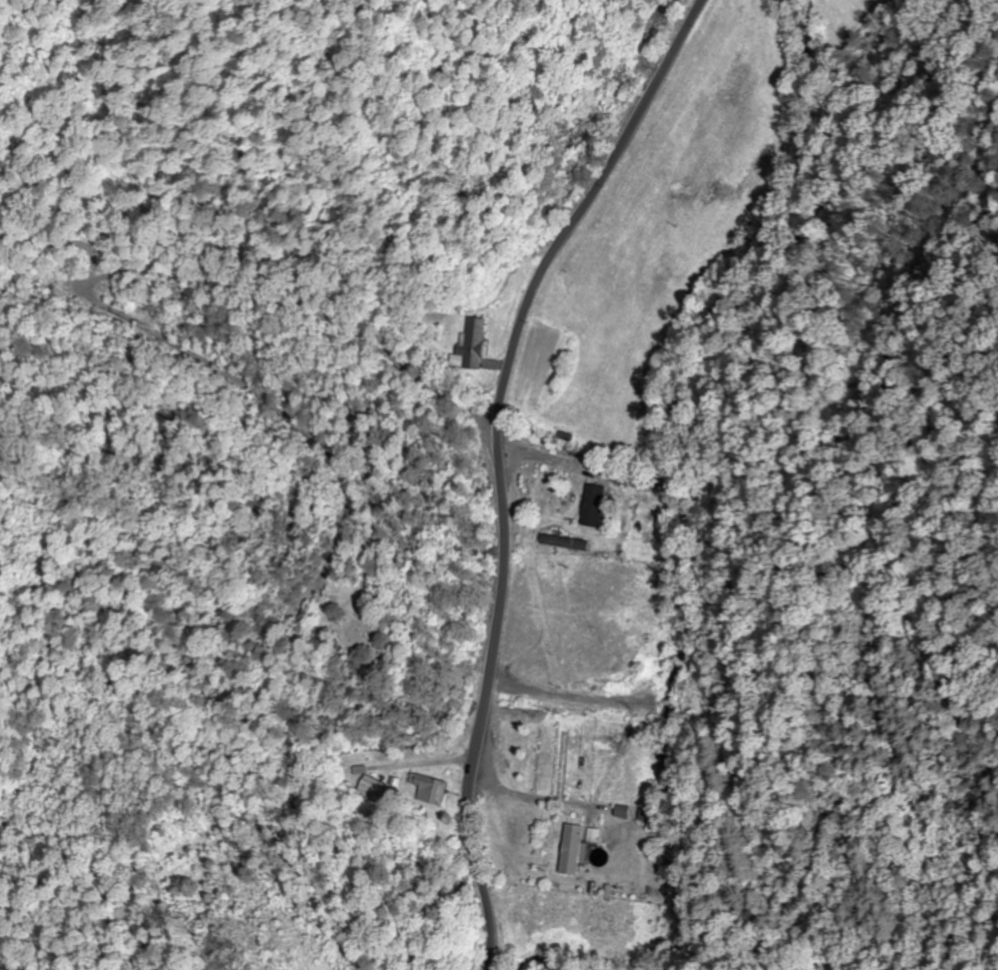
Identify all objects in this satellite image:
building: (471, 343)
road: (499, 462)
building: (593, 505)
building: (563, 541)
building: (429, 788)
building: (372, 789)
building: (646, 814)
building: (571, 849)

